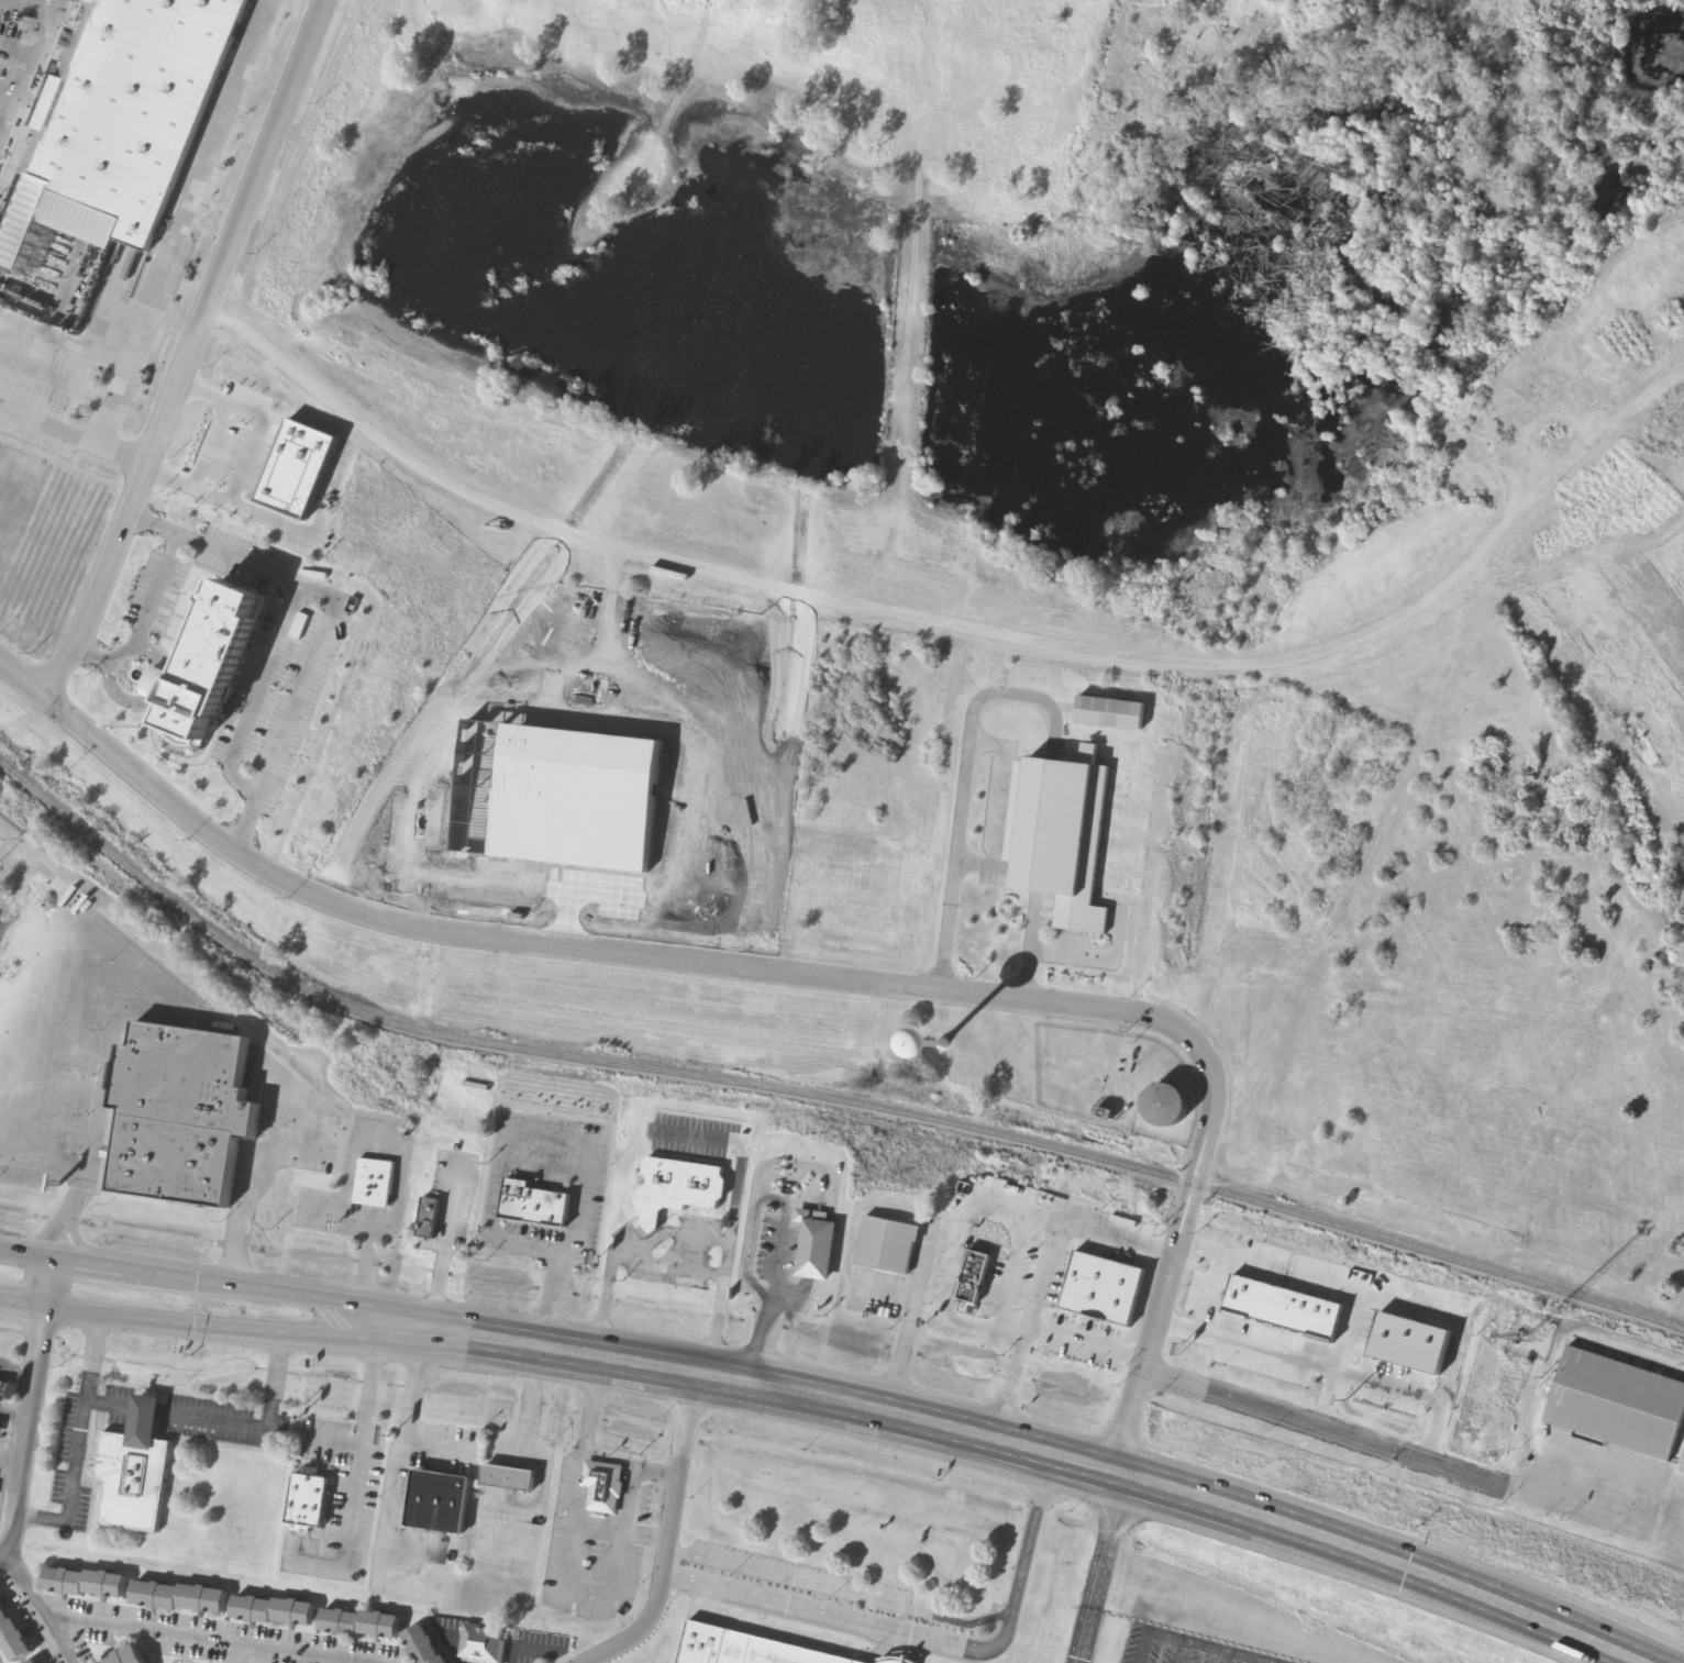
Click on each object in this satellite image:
road: (27, 71)
road: (9, 93)
building: (131, 103)
road: (185, 222)
road: (191, 352)
road: (74, 434)
building: (219, 536)
building: (211, 662)
building: (1132, 716)
building: (1061, 838)
road: (782, 969)
water tower: (952, 1049)
railway: (812, 1095)
building: (193, 1128)
road: (561, 1141)
building: (788, 1172)
building: (374, 1184)
building: (678, 1191)
building: (534, 1207)
building: (429, 1220)
building: (817, 1248)
building: (899, 1251)
road: (228, 1280)
building: (987, 1284)
road: (225, 1322)
building: (1404, 1341)
building: (1, 1392)
road: (30, 1405)
building: (1618, 1406)
road: (1062, 1454)
building: (134, 1473)
building: (522, 1485)
building: (617, 1488)
building: (322, 1507)
building: (452, 1510)
road: (668, 1534)
building: (85, 1583)
building: (179, 1597)
building: (274, 1611)
building: (361, 1623)
building: (11, 1637)
building: (425, 1644)
building: (483, 1644)
building: (773, 1651)
building: (128, 1656)
park: (1075, 1660)
building: (37, 1661)

